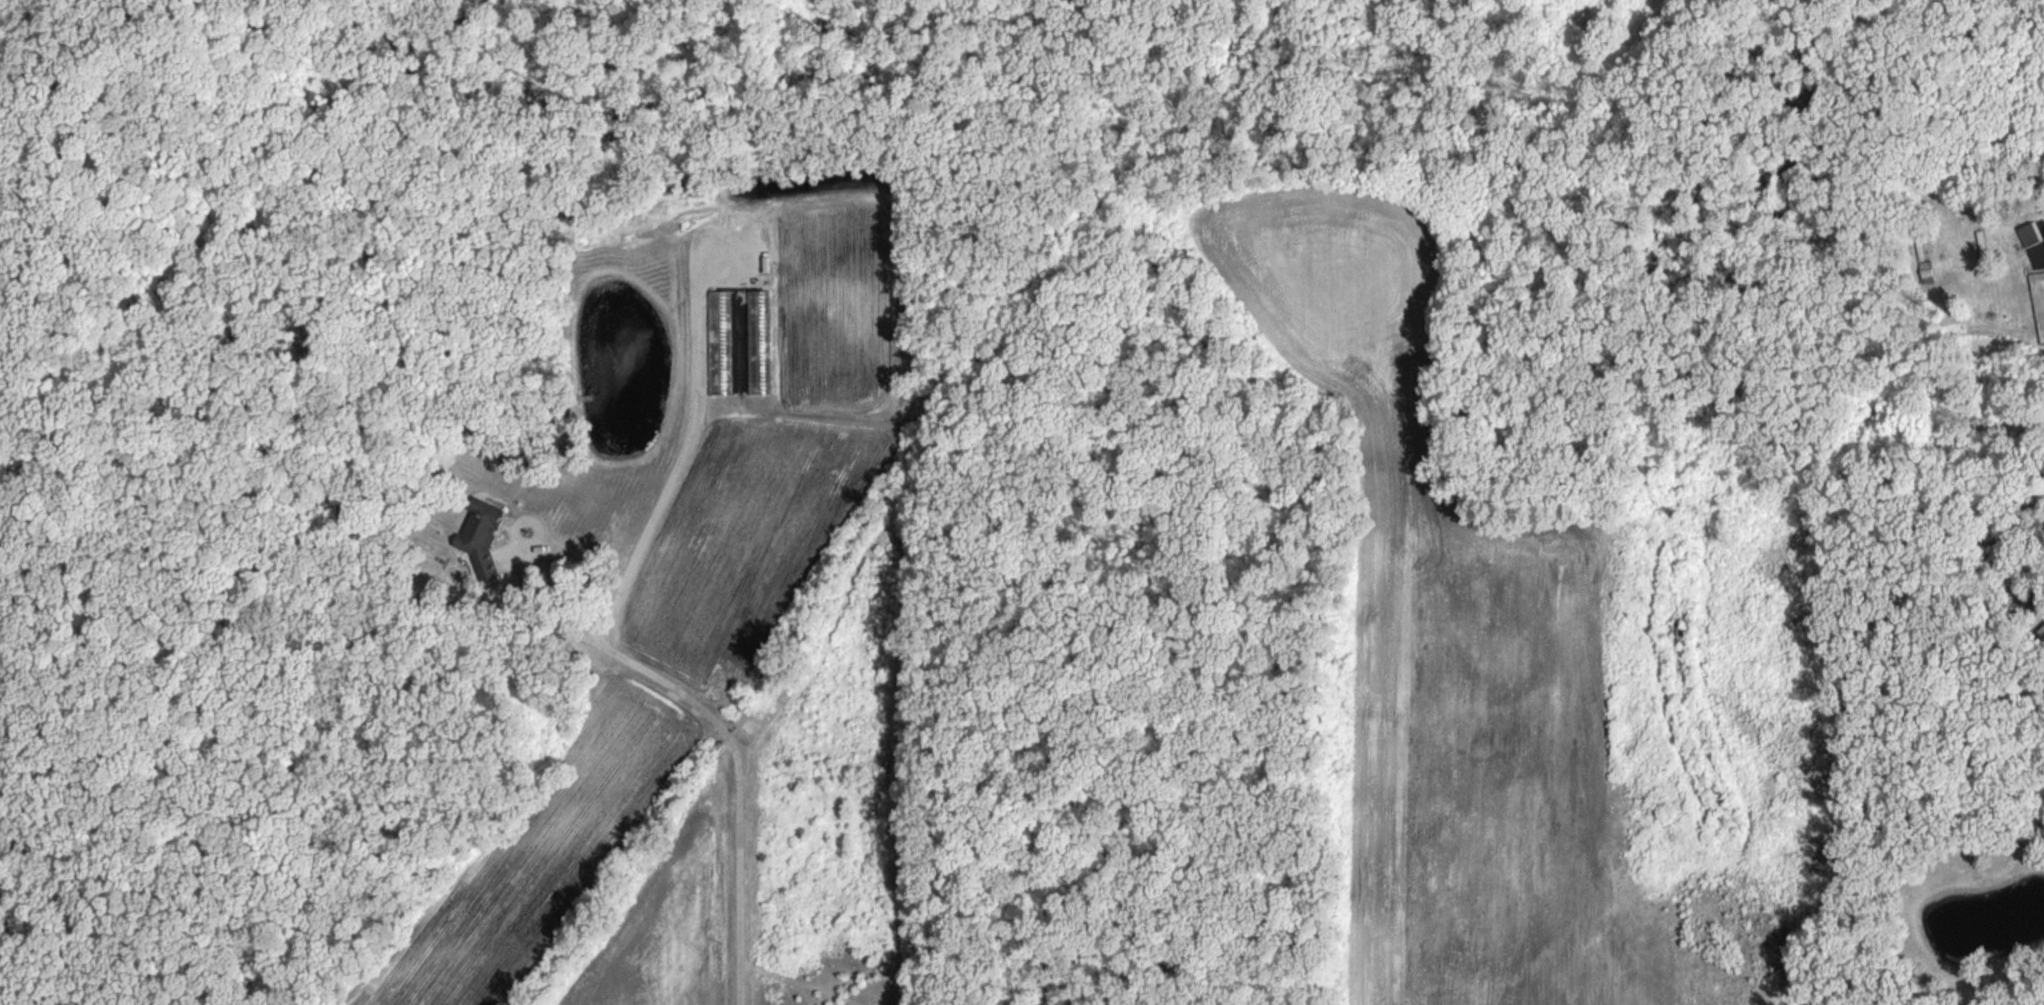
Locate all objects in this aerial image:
park: (1480, 77)
building: (2024, 233)
building: (735, 317)
building: (477, 534)
road: (734, 736)

